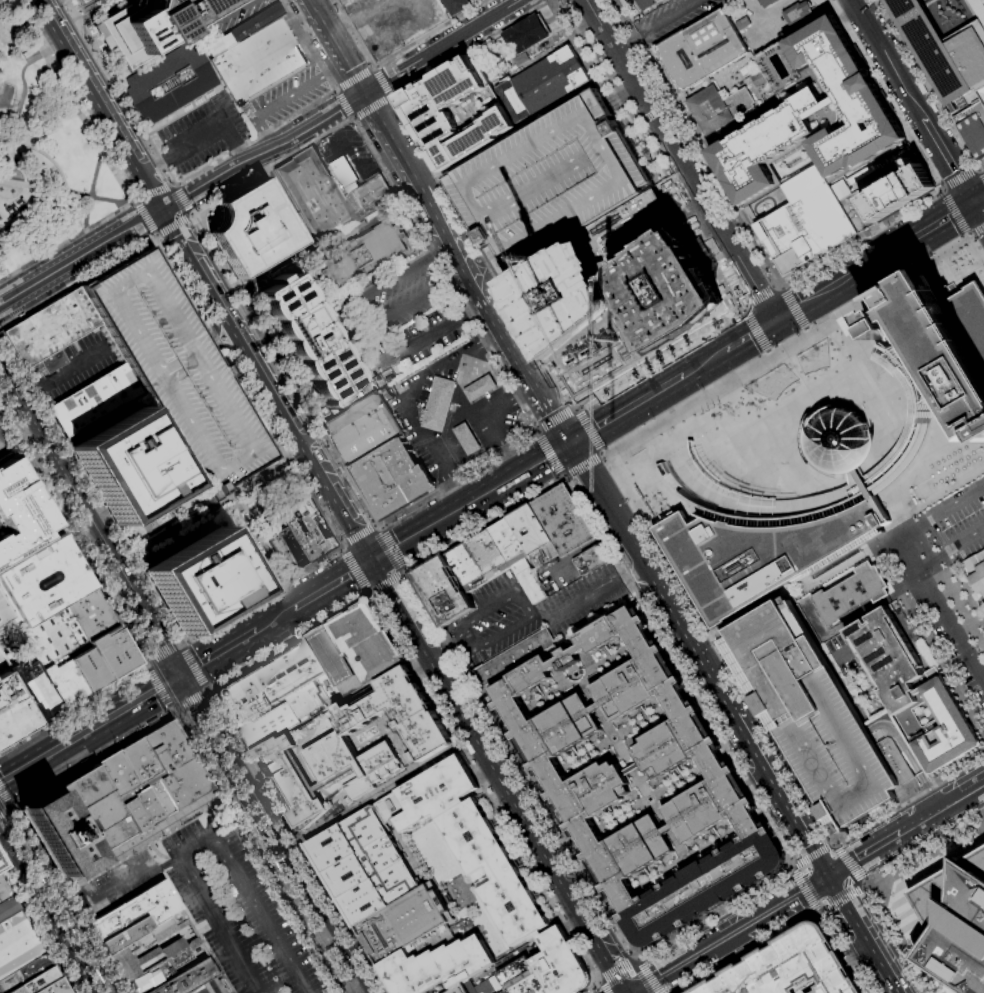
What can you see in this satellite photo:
building: (76, 0)
building: (79, 1)
building: (643, 3)
building: (766, 3)
road: (511, 4)
building: (456, 6)
road: (420, 8)
road: (772, 10)
building: (797, 13)
road: (360, 15)
road: (227, 17)
building: (742, 23)
building: (154, 25)
road: (655, 26)
building: (245, 28)
road: (462, 33)
building: (525, 34)
road: (337, 45)
road: (470, 47)
building: (702, 50)
road: (394, 53)
building: (520, 59)
building: (258, 62)
building: (950, 63)
road: (333, 64)
road: (372, 68)
road: (392, 74)
road: (353, 79)
building: (759, 79)
building: (170, 82)
road: (379, 82)
road: (927, 83)
building: (541, 85)
road: (334, 90)
road: (24, 91)
traffic signals: (365, 92)
road: (111, 93)
road: (388, 95)
road: (882, 95)
road: (281, 97)
road: (73, 100)
road: (913, 100)
building: (772, 102)
road: (343, 103)
road: (96, 104)
road: (369, 105)
building: (717, 108)
building: (453, 111)
building: (798, 111)
road: (351, 117)
road: (204, 128)
road: (25, 130)
road: (685, 134)
road: (266, 138)
road: (392, 139)
road: (696, 141)
road: (669, 142)
road: (653, 150)
road: (241, 151)
road: (263, 152)
park: (42, 154)
road: (678, 160)
road: (354, 162)
road: (151, 163)
road: (980, 163)
road: (207, 165)
road: (976, 168)
building: (343, 172)
road: (980, 176)
road: (959, 180)
building: (550, 184)
parking lot: (550, 184)
road: (173, 185)
road: (176, 185)
road: (66, 188)
road: (92, 190)
road: (941, 190)
road: (66, 191)
road: (152, 191)
building: (897, 192)
traffic signals: (188, 194)
building: (315, 194)
road: (133, 197)
building: (366, 197)
road: (174, 198)
road: (978, 198)
road: (183, 200)
road: (429, 201)
road: (134, 202)
traffic signals: (973, 202)
building: (856, 211)
road: (978, 211)
road: (953, 212)
road: (191, 214)
road: (186, 216)
road: (146, 218)
road: (179, 221)
building: (805, 221)
traffic signals: (188, 222)
building: (359, 224)
traffic signals: (133, 225)
road: (165, 228)
road: (171, 229)
building: (252, 229)
road: (976, 229)
road: (924, 230)
road: (968, 234)
road: (156, 235)
traffic signals: (175, 236)
road: (859, 237)
road: (67, 241)
road: (453, 242)
road: (440, 249)
road: (976, 249)
building: (364, 252)
road: (79, 257)
road: (175, 269)
road: (456, 275)
road: (478, 284)
road: (775, 286)
road: (780, 287)
road: (825, 290)
building: (669, 291)
road: (760, 294)
building: (563, 298)
parking lot: (395, 299)
road: (743, 302)
road: (793, 307)
road: (475, 308)
road: (740, 308)
road: (358, 315)
traffic signals: (776, 320)
road: (504, 329)
road: (755, 329)
road: (806, 330)
building: (49, 331)
road: (494, 334)
road: (857, 334)
road: (750, 335)
building: (309, 340)
road: (420, 341)
road: (786, 345)
building: (939, 346)
road: (768, 352)
fountain: (812, 357)
road: (655, 361)
road: (704, 362)
road: (888, 364)
road: (275, 369)
building: (178, 372)
parking lot: (178, 372)
road: (61, 375)
railway: (682, 376)
railway: (682, 378)
fountain: (770, 382)
building: (479, 388)
road: (528, 391)
road: (409, 396)
building: (348, 399)
building: (94, 400)
road: (546, 400)
building: (437, 404)
road: (275, 405)
flagpole: (719, 405)
road: (449, 406)
road: (453, 407)
road: (627, 408)
flagpole: (713, 408)
road: (575, 409)
building: (333, 411)
flagpole: (708, 411)
road: (469, 412)
road: (805, 414)
flagpole: (702, 415)
road: (485, 416)
building: (912, 418)
road: (555, 421)
building: (923, 421)
road: (444, 424)
road: (532, 427)
building: (363, 428)
road: (589, 430)
road: (534, 431)
building: (84, 433)
building: (466, 438)
road: (424, 440)
building: (2, 441)
road: (17, 441)
building: (839, 441)
traffic signals: (572, 442)
road: (905, 442)
road: (549, 453)
road: (602, 453)
road: (33, 457)
road: (512, 462)
road: (581, 464)
building: (129, 466)
road: (564, 477)
building: (390, 478)
building: (692, 480)
road: (860, 481)
road: (856, 483)
road: (90, 488)
road: (886, 491)
road: (942, 491)
road: (73, 493)
road: (456, 494)
road: (469, 502)
road: (314, 503)
road: (209, 506)
road: (757, 507)
building: (19, 511)
road: (51, 512)
road: (920, 512)
road: (939, 513)
park: (159, 520)
building: (563, 520)
parking lot: (959, 521)
road: (79, 522)
road: (377, 524)
building: (306, 529)
road: (899, 529)
building: (533, 534)
road: (357, 535)
road: (73, 542)
traffic signals: (397, 544)
road: (948, 544)
road: (341, 545)
building: (292, 547)
road: (381, 548)
road: (391, 548)
building: (763, 549)
road: (340, 550)
building: (282, 553)
building: (493, 560)
building: (590, 560)
road: (354, 570)
road: (404, 571)
building: (976, 571)
traffic signals: (346, 575)
road: (403, 575)
road: (397, 577)
road: (653, 579)
building: (43, 580)
traffic signals: (398, 580)
building: (201, 581)
road: (391, 581)
road: (329, 584)
road: (380, 584)
road: (626, 584)
road: (793, 586)
road: (380, 587)
road: (368, 591)
building: (442, 592)
road: (371, 593)
traffic signals: (386, 593)
building: (851, 594)
road: (260, 595)
road: (588, 596)
road: (525, 605)
road: (962, 607)
building: (8, 610)
road: (940, 610)
building: (90, 614)
road: (274, 619)
building: (54, 638)
road: (289, 641)
building: (366, 641)
road: (166, 643)
road: (178, 644)
road: (182, 645)
building: (114, 652)
road: (220, 652)
road: (441, 652)
road: (162, 653)
building: (330, 655)
building: (512, 658)
building: (3, 663)
road: (942, 663)
road: (193, 667)
building: (893, 667)
road: (414, 669)
building: (89, 670)
railway: (189, 670)
railway: (190, 670)
building: (287, 672)
traffic signals: (184, 675)
building: (351, 681)
building: (64, 683)
road: (158, 687)
road: (208, 688)
building: (34, 691)
road: (207, 692)
flagpole: (218, 692)
railway: (175, 696)
building: (314, 697)
building: (241, 699)
flagpole: (79, 700)
road: (191, 701)
flagpole: (72, 704)
building: (329, 704)
road: (74, 706)
building: (11, 711)
building: (312, 714)
building: (400, 715)
building: (817, 718)
parking lot: (817, 718)
parking lot: (415, 721)
road: (761, 723)
road: (200, 724)
building: (267, 727)
road: (91, 729)
building: (944, 729)
road: (725, 733)
building: (313, 740)
road: (900, 741)
building: (167, 746)
street lamp: (443, 755)
building: (334, 757)
road: (93, 758)
building: (381, 763)
road: (509, 765)
street lamp: (422, 766)
building: (128, 769)
building: (304, 775)
street lamp: (404, 777)
building: (599, 778)
building: (184, 783)
building: (289, 784)
road: (973, 786)
building: (80, 789)
building: (337, 789)
building: (358, 789)
road: (927, 790)
street lamp: (381, 791)
road: (379, 793)
building: (435, 793)
road: (5, 795)
road: (778, 797)
building: (159, 798)
road: (507, 799)
street lamp: (359, 804)
building: (146, 805)
building: (389, 808)
road: (4, 811)
building: (95, 814)
building: (134, 815)
road: (923, 816)
street lamp: (336, 818)
road: (11, 831)
street lamp: (313, 831)
road: (278, 833)
building: (54, 834)
building: (108, 837)
road: (206, 838)
road: (142, 841)
road: (298, 841)
road: (832, 843)
road: (915, 843)
railway: (23, 847)
road: (256, 849)
road: (568, 850)
road: (4, 851)
building: (380, 855)
road: (810, 855)
road: (854, 858)
road: (168, 861)
road: (811, 863)
road: (846, 863)
road: (789, 866)
road: (531, 868)
building: (494, 872)
building: (346, 875)
traffic signals: (824, 876)
road: (870, 881)
road: (864, 883)
road: (803, 890)
building: (3, 891)
road: (795, 893)
railway: (56, 895)
road: (841, 897)
road: (892, 897)
road: (66, 898)
railway: (307, 903)
building: (7, 907)
parking lot: (236, 909)
building: (136, 910)
road: (820, 913)
building: (403, 923)
building: (955, 923)
road: (49, 925)
road: (790, 927)
road: (37, 930)
building: (124, 934)
road: (860, 934)
road: (759, 937)
road: (886, 940)
building: (16, 943)
building: (157, 949)
road: (330, 949)
road: (699, 952)
road: (636, 956)
road: (631, 961)
building: (435, 962)
building: (559, 963)
road: (638, 963)
building: (787, 966)
road: (622, 967)
road: (643, 970)
building: (24, 973)
road: (607, 976)
building: (148, 977)
building: (186, 977)
road: (620, 977)
road: (639, 977)
traffic signals: (659, 977)
building: (521, 978)
building: (39, 980)
road: (650, 981)
road: (595, 982)
building: (53, 987)
building: (479, 987)
building: (200, 988)
road: (600, 988)
road: (362, 989)
building: (459, 989)
building: (16, 990)
road: (596, 990)
road: (656, 991)
building: (505, 992)

